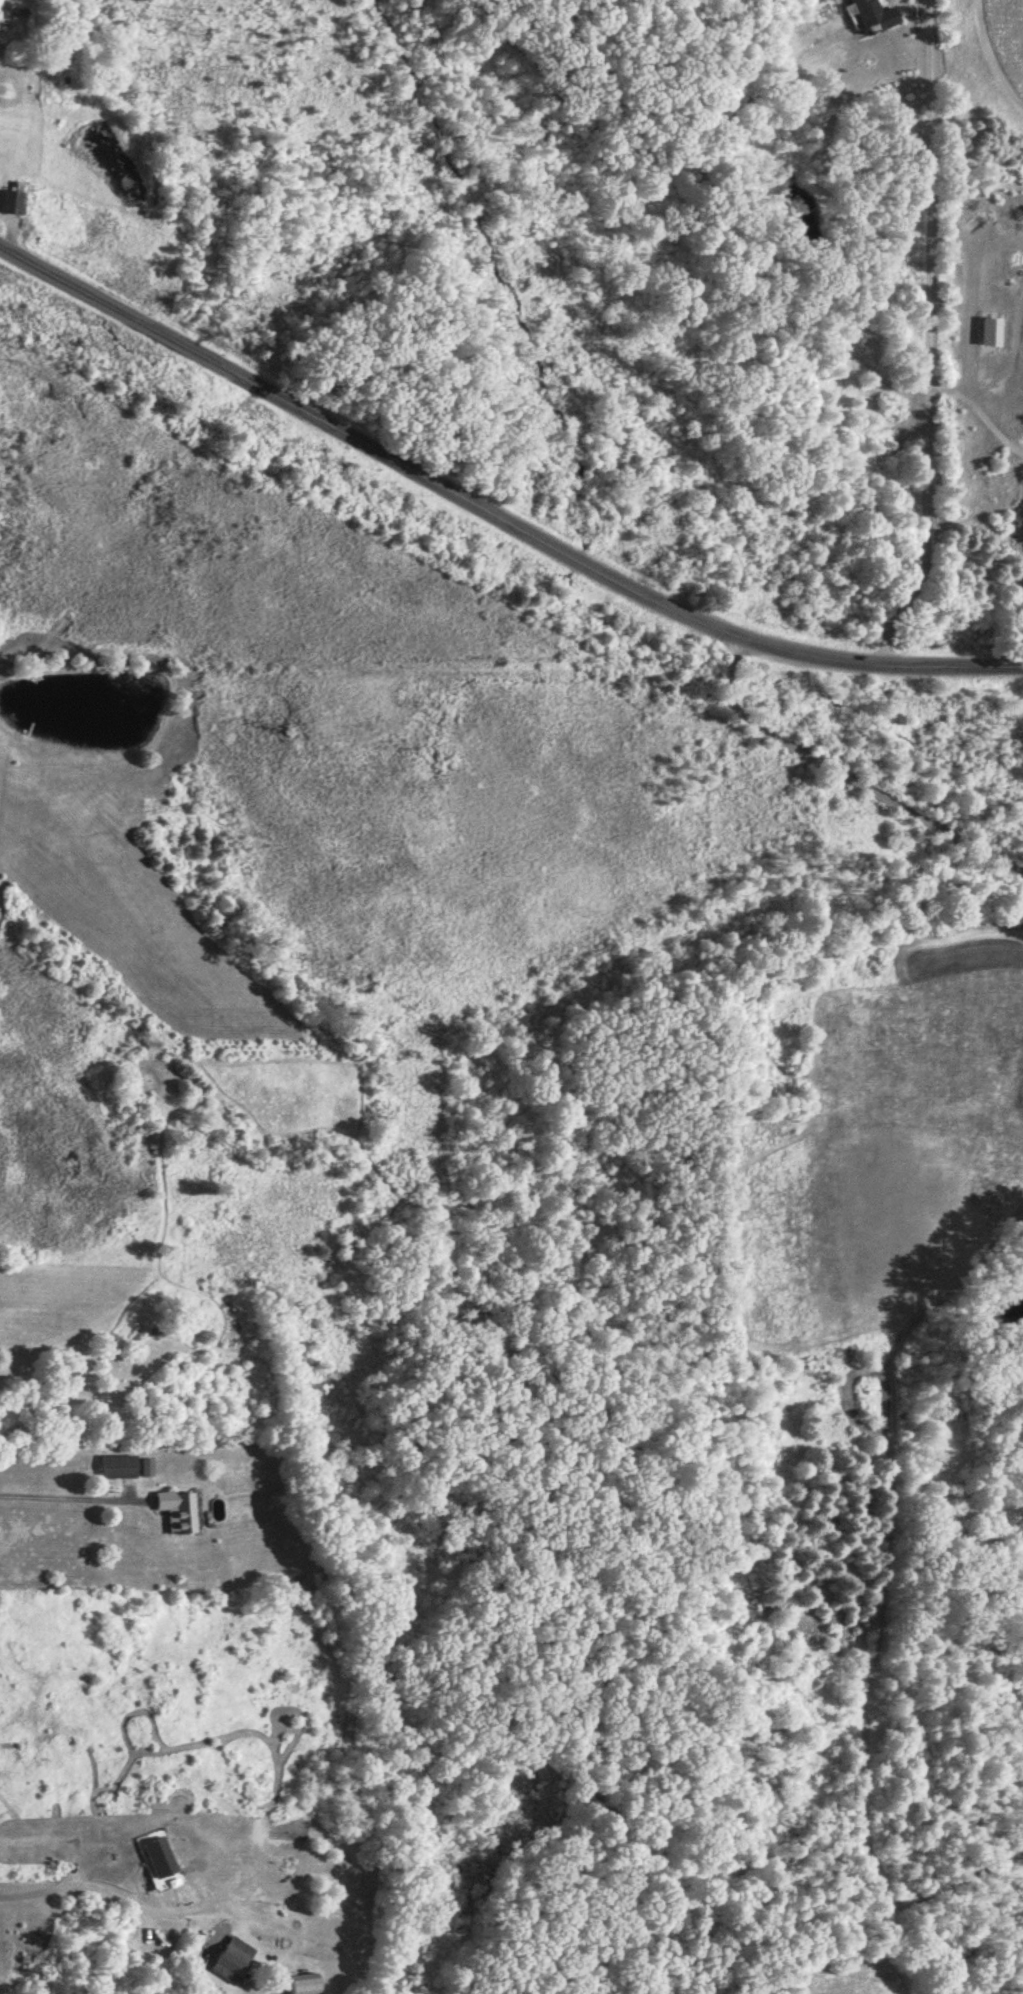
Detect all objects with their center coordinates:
building: (871, 16)
building: (11, 202)
building: (987, 331)
road: (492, 515)
building: (122, 1465)
building: (148, 1466)
building: (182, 1509)
building: (155, 1856)
building: (230, 1958)
building: (300, 1984)

